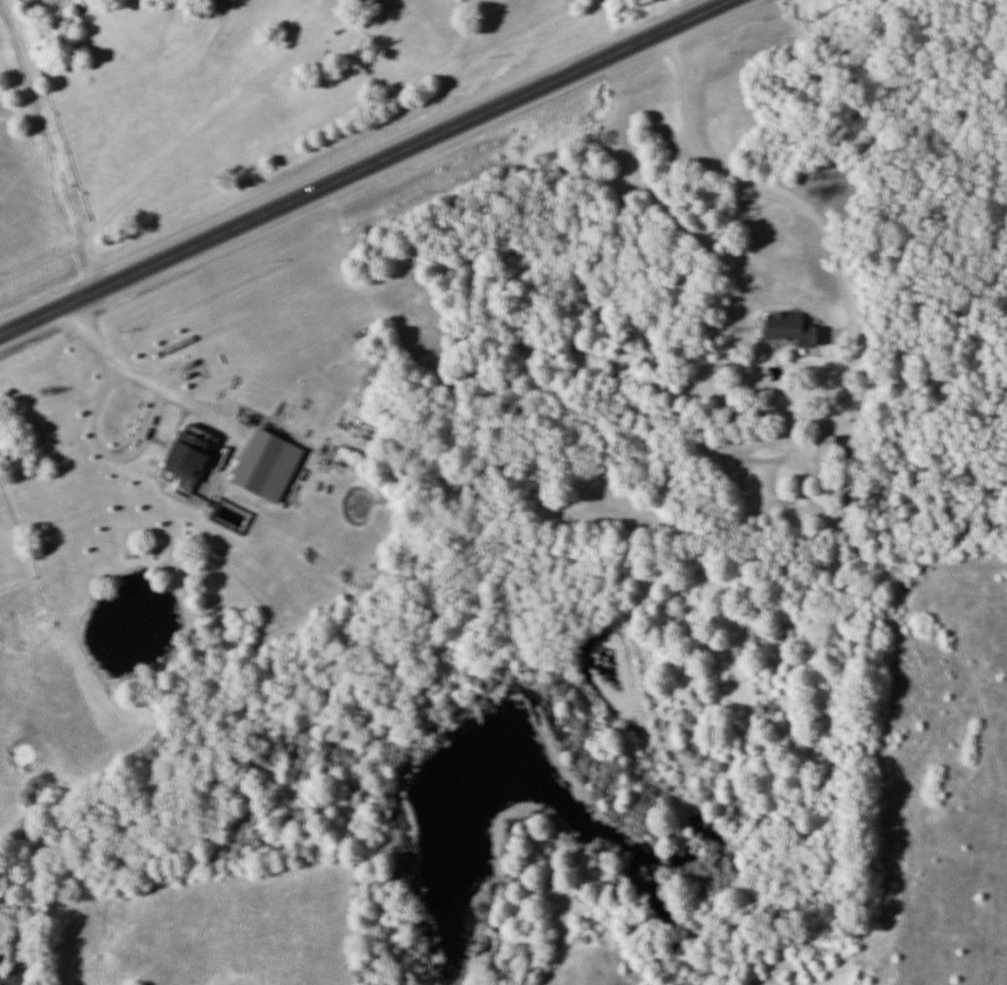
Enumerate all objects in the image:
road: (48, 113)
road: (185, 140)
road: (364, 166)
road: (844, 287)
building: (792, 327)
road: (140, 378)
building: (196, 454)
building: (272, 463)
building: (17, 977)

